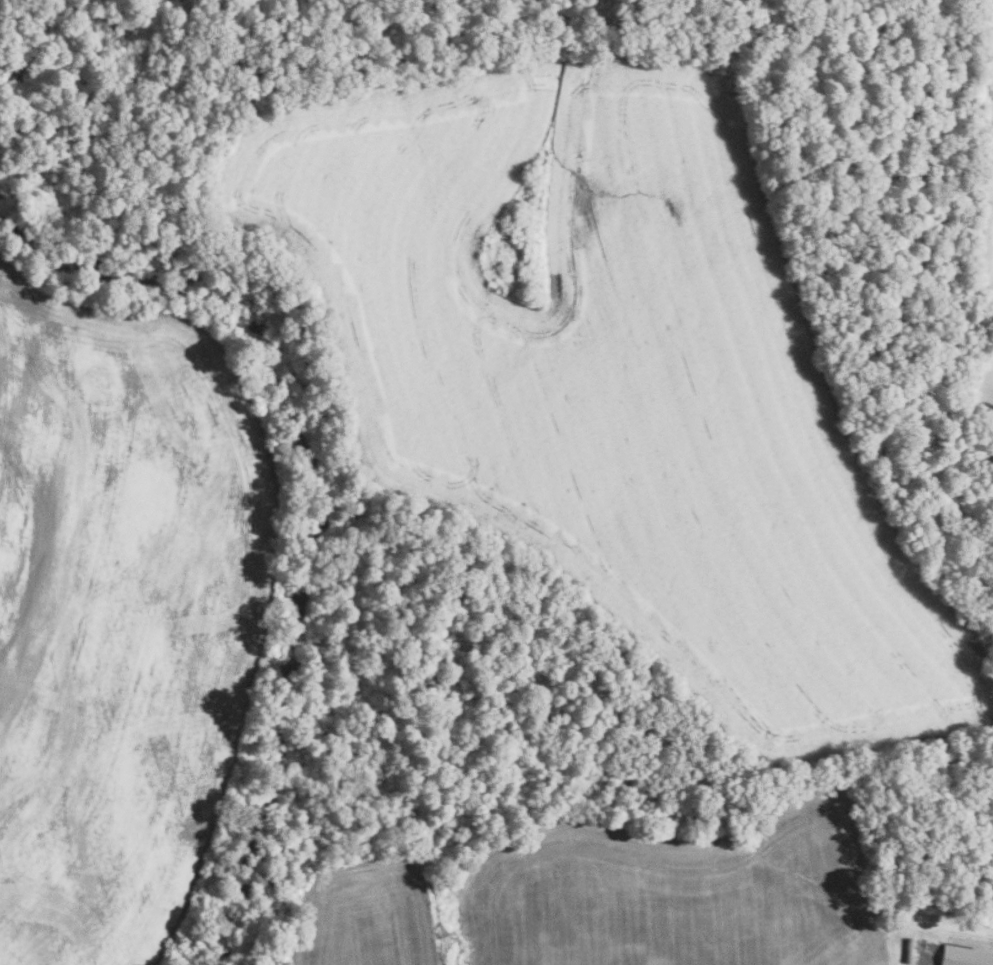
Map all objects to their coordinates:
crop: (983, 160)
crop: (621, 382)
crop: (677, 891)
crop: (374, 912)
building: (964, 956)

